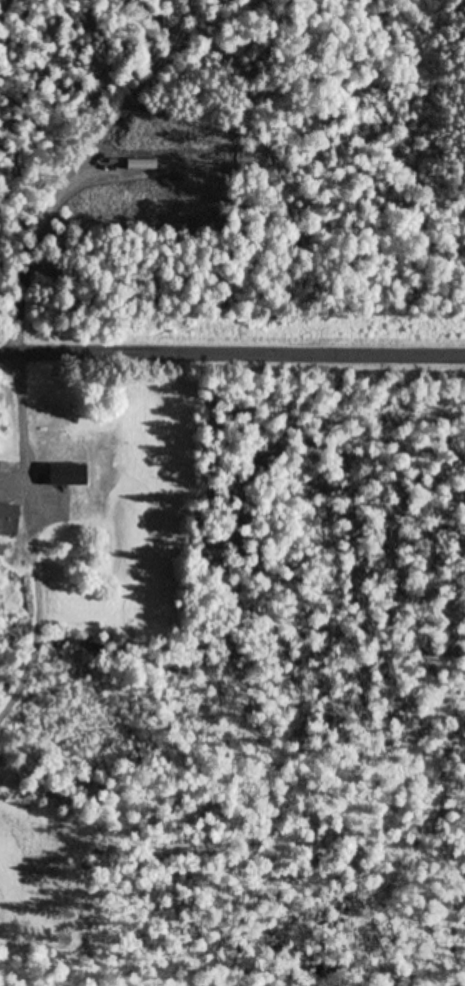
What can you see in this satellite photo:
road: (232, 357)
building: (44, 424)
building: (70, 482)
building: (8, 520)

